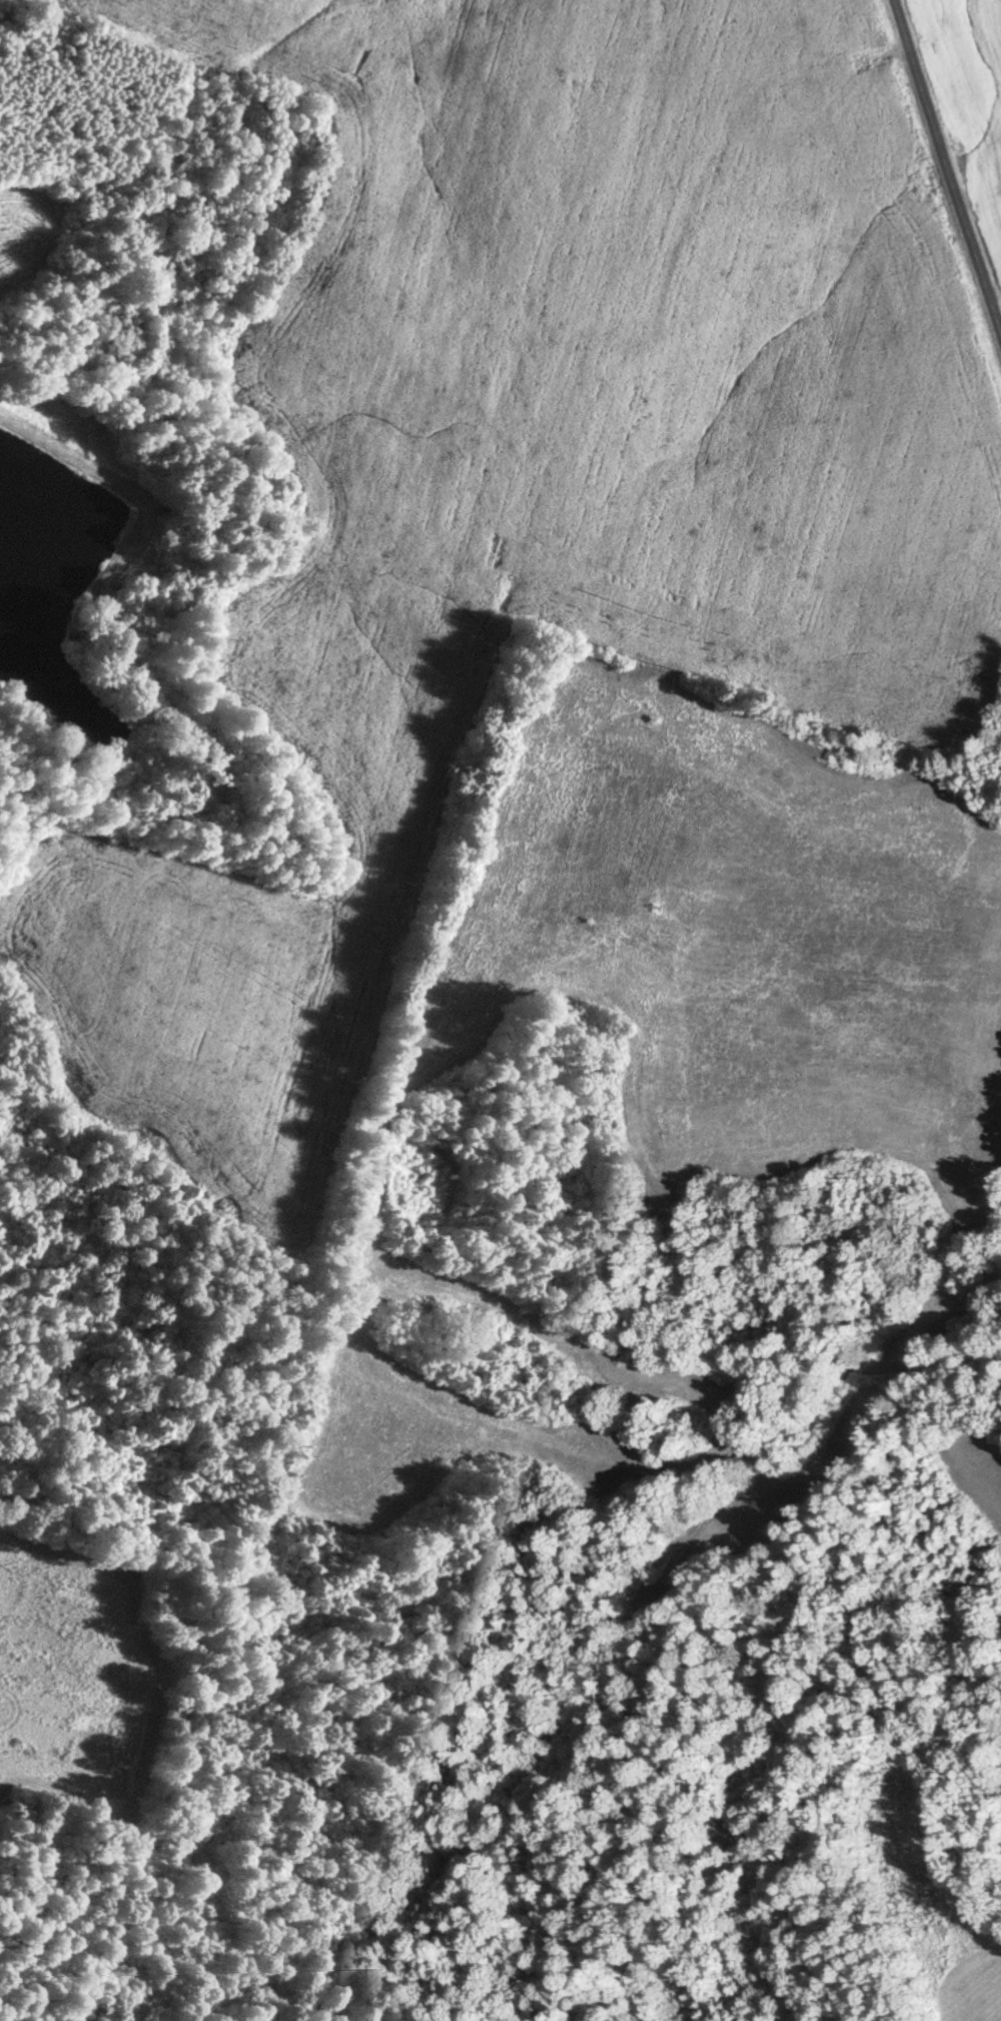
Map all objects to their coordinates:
road: (959, 44)
road: (949, 165)

